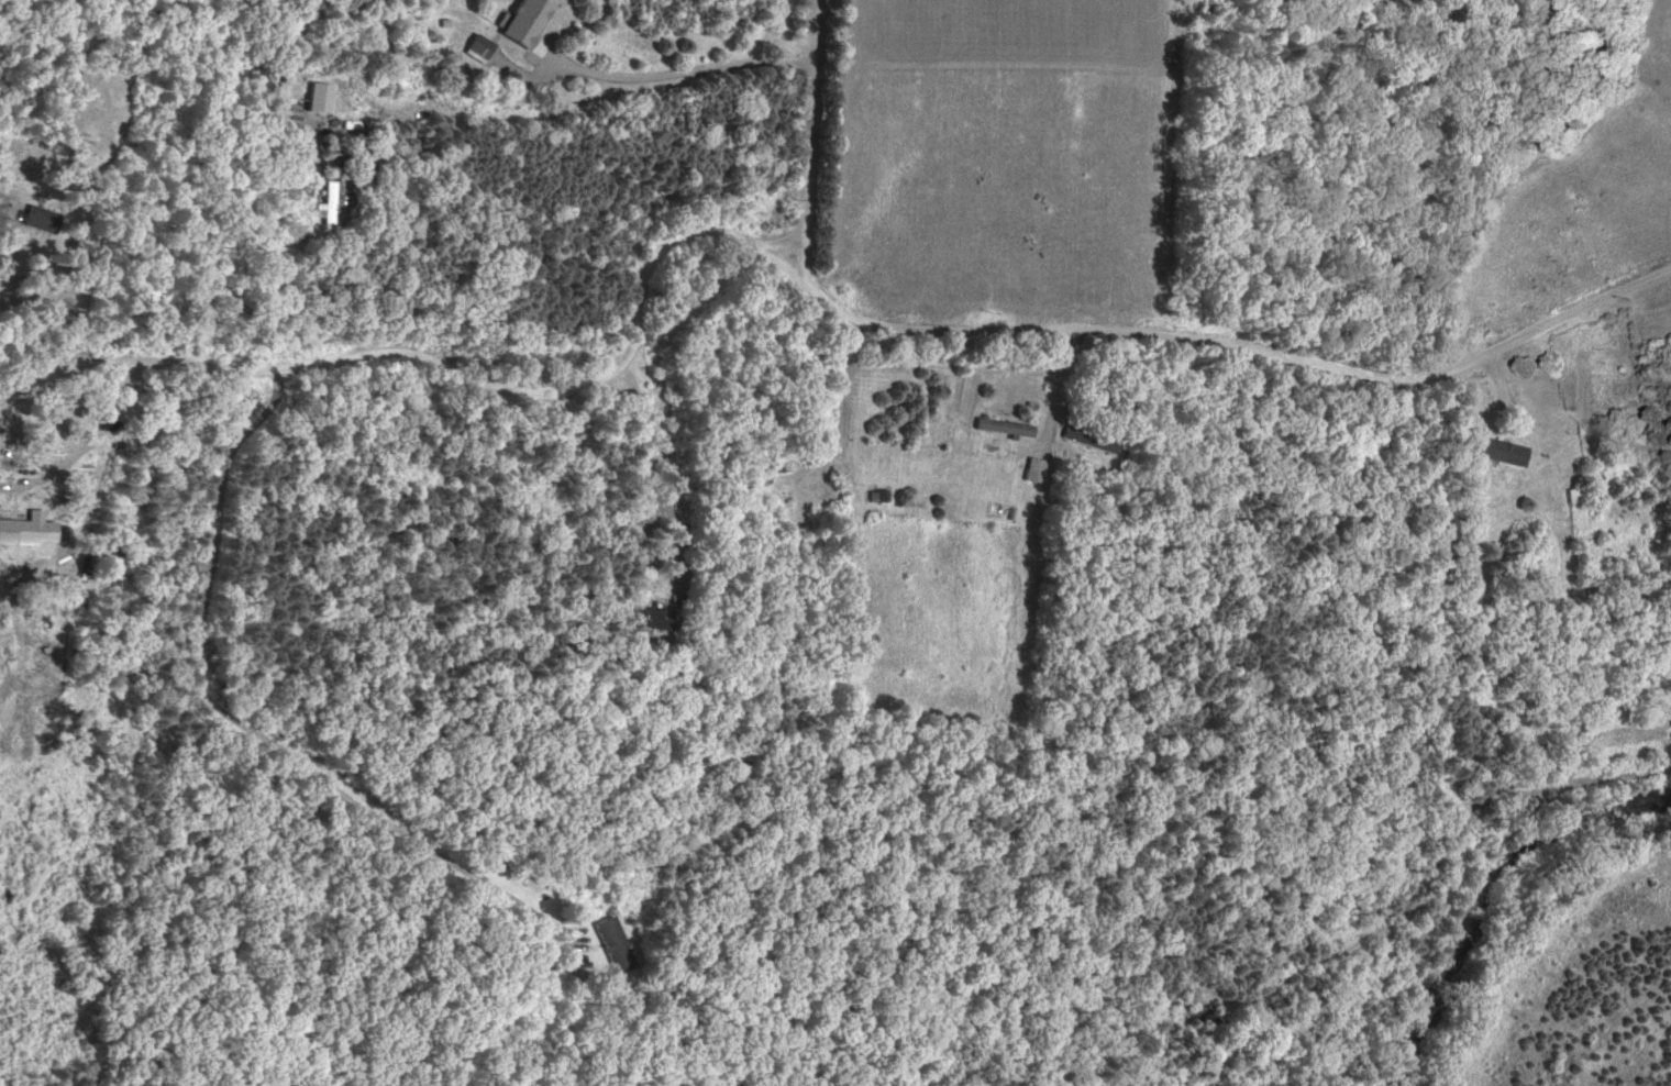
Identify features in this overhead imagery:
building: (522, 21)
road: (667, 75)
road: (810, 143)
building: (327, 200)
building: (36, 215)
road: (794, 276)
building: (1002, 423)
building: (1087, 435)
building: (1495, 447)
building: (1032, 467)
road: (648, 480)
building: (1580, 492)
building: (26, 529)
building: (650, 614)
building: (609, 943)

